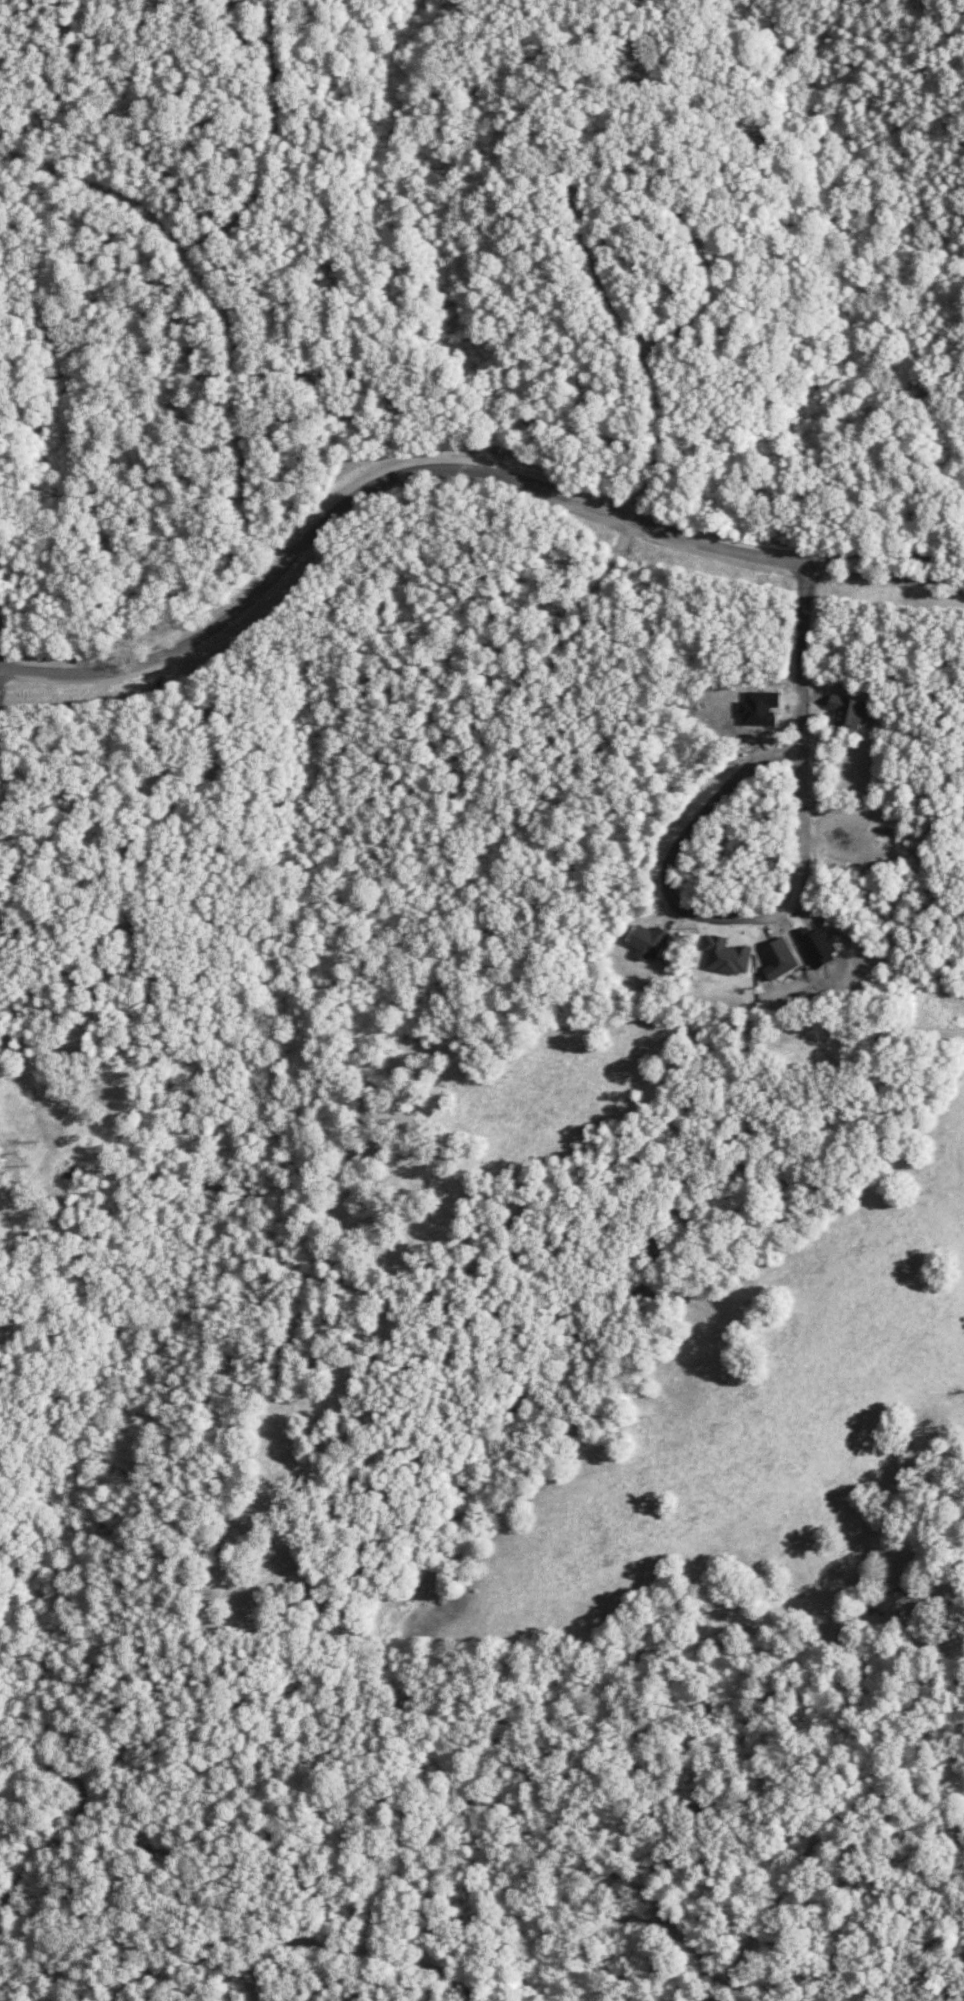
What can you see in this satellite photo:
road: (279, 152)
road: (578, 212)
road: (222, 303)
road: (300, 360)
road: (379, 489)
road: (885, 556)
road: (885, 582)
road: (532, 631)
road: (552, 635)
road: (1, 651)
road: (806, 661)
building: (847, 711)
road: (724, 797)
road: (185, 807)
building: (647, 942)
building: (725, 956)
road: (81, 1818)
road: (811, 1856)
road: (387, 1915)
road: (681, 1937)
road: (364, 1954)
road: (192, 1960)

